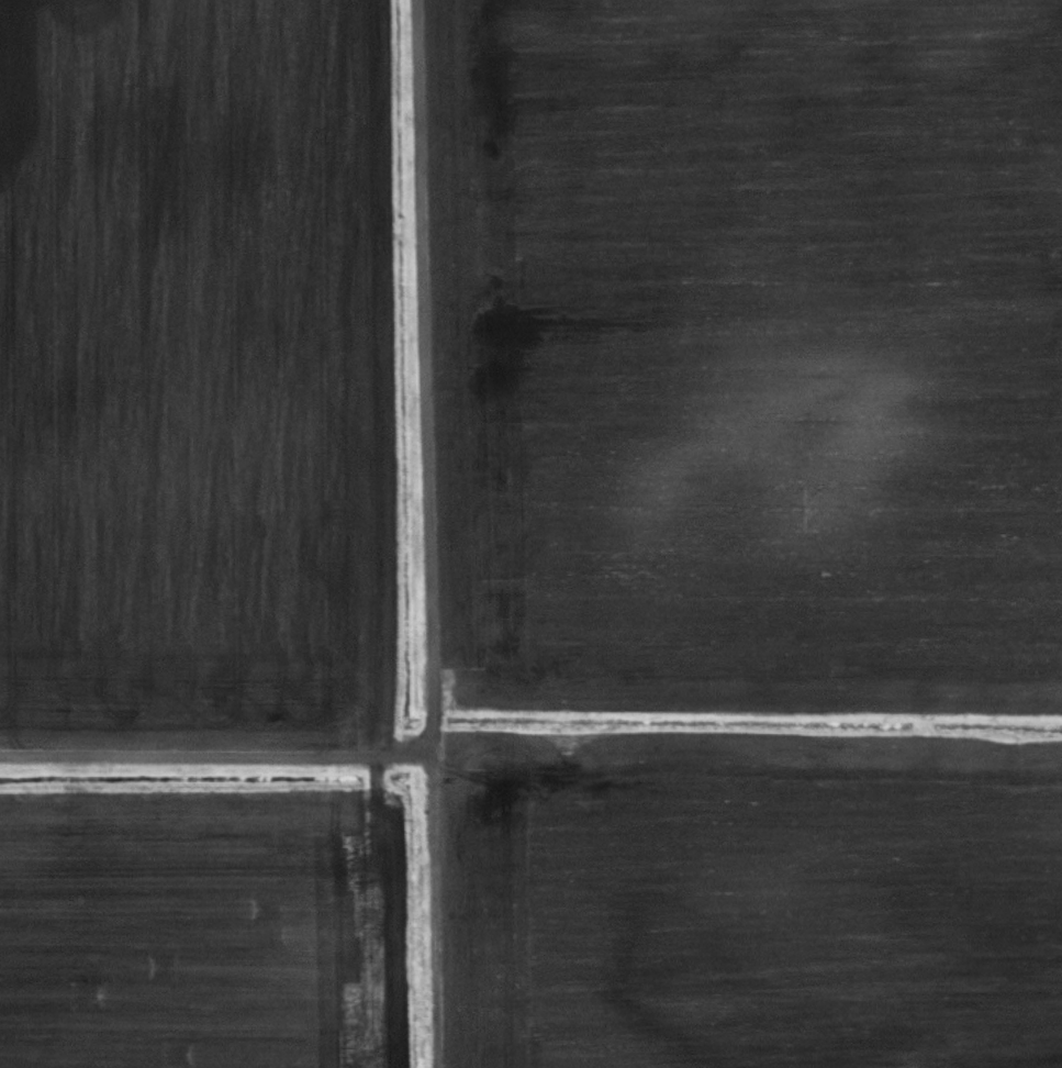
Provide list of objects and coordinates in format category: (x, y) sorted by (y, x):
road: (426, 374)
road: (217, 758)
road: (436, 909)

